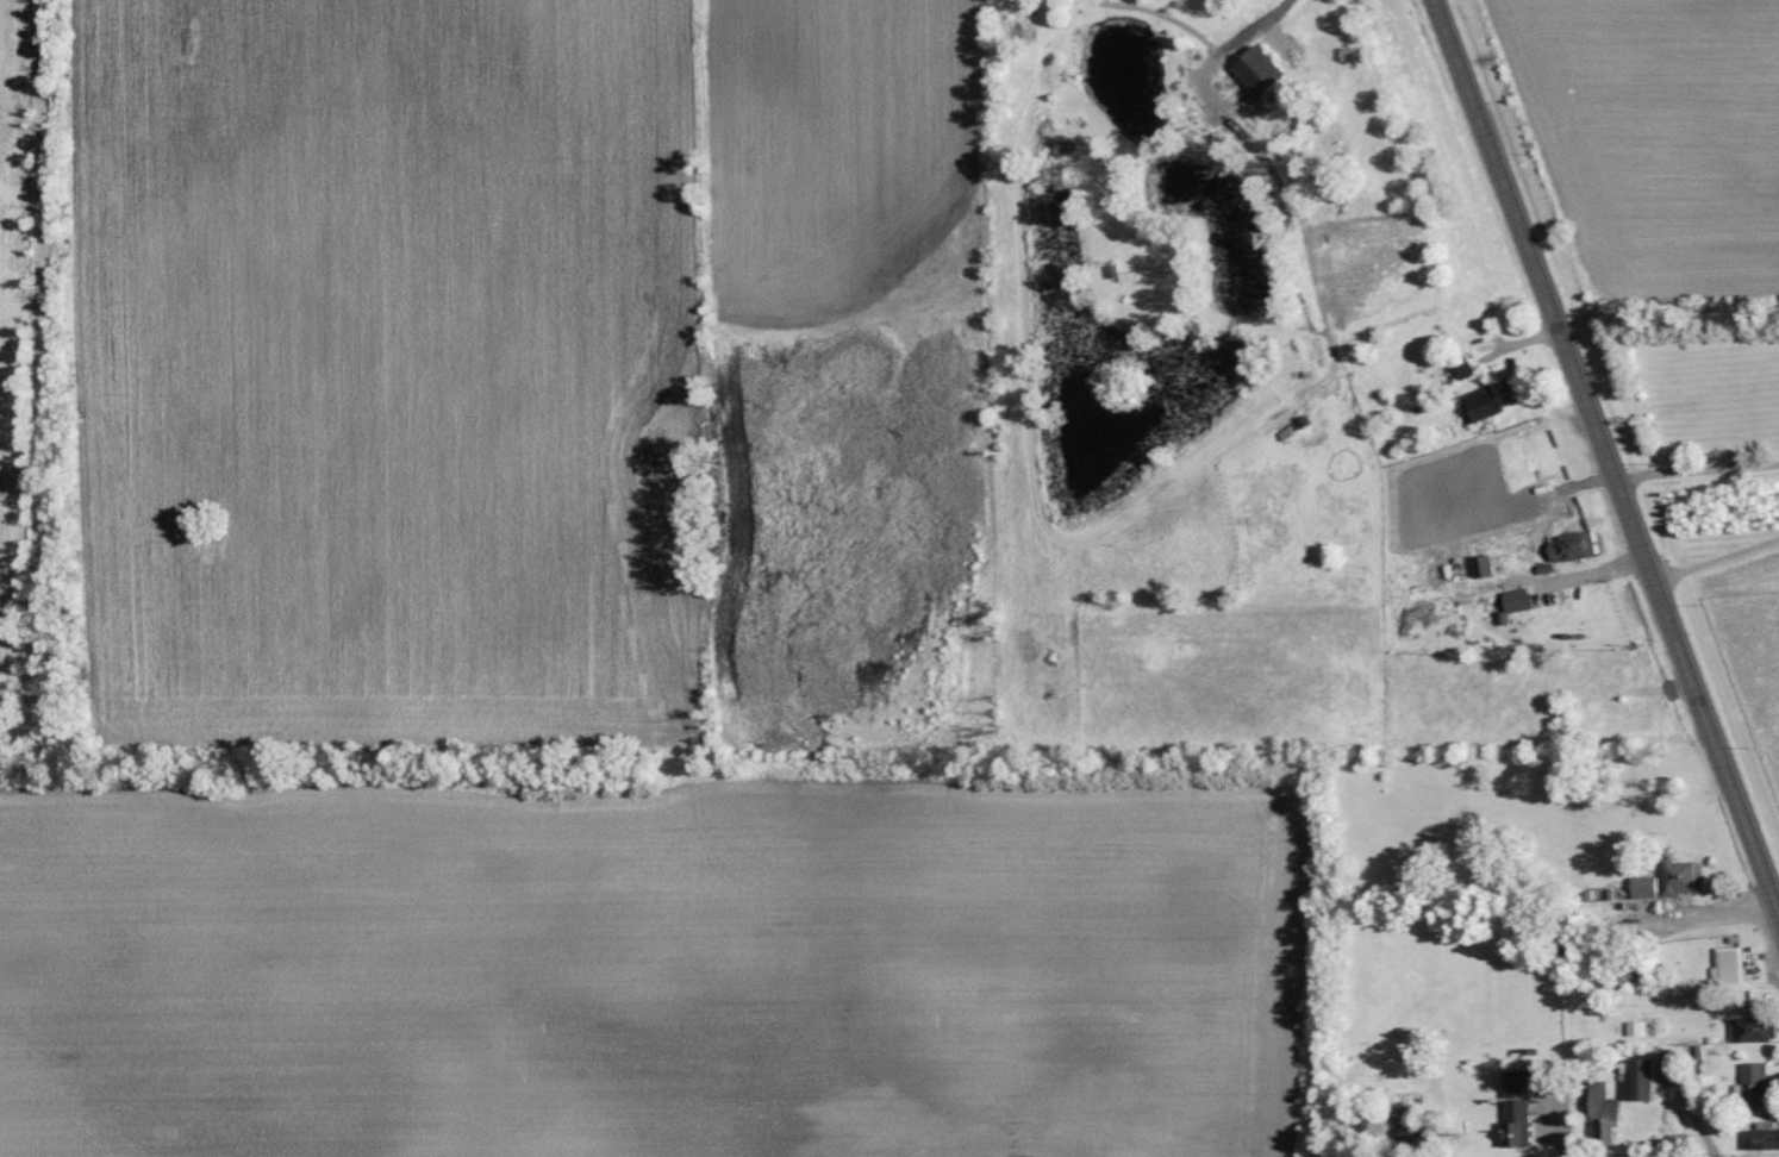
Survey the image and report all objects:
road: (1221, 60)
building: (1265, 71)
building: (1466, 370)
building: (1496, 400)
road: (1610, 458)
road: (1698, 470)
building: (1578, 548)
road: (1717, 558)
building: (1488, 567)
road: (1586, 573)
building: (1522, 601)
building: (1684, 878)
building: (1649, 887)
road: (1775, 894)
road: (1710, 913)
building: (1735, 969)
building: (1756, 1031)
building: (1650, 1082)
building: (1756, 1084)
building: (1522, 1109)
building: (1611, 1119)
building: (1410, 1125)
building: (1772, 1142)

